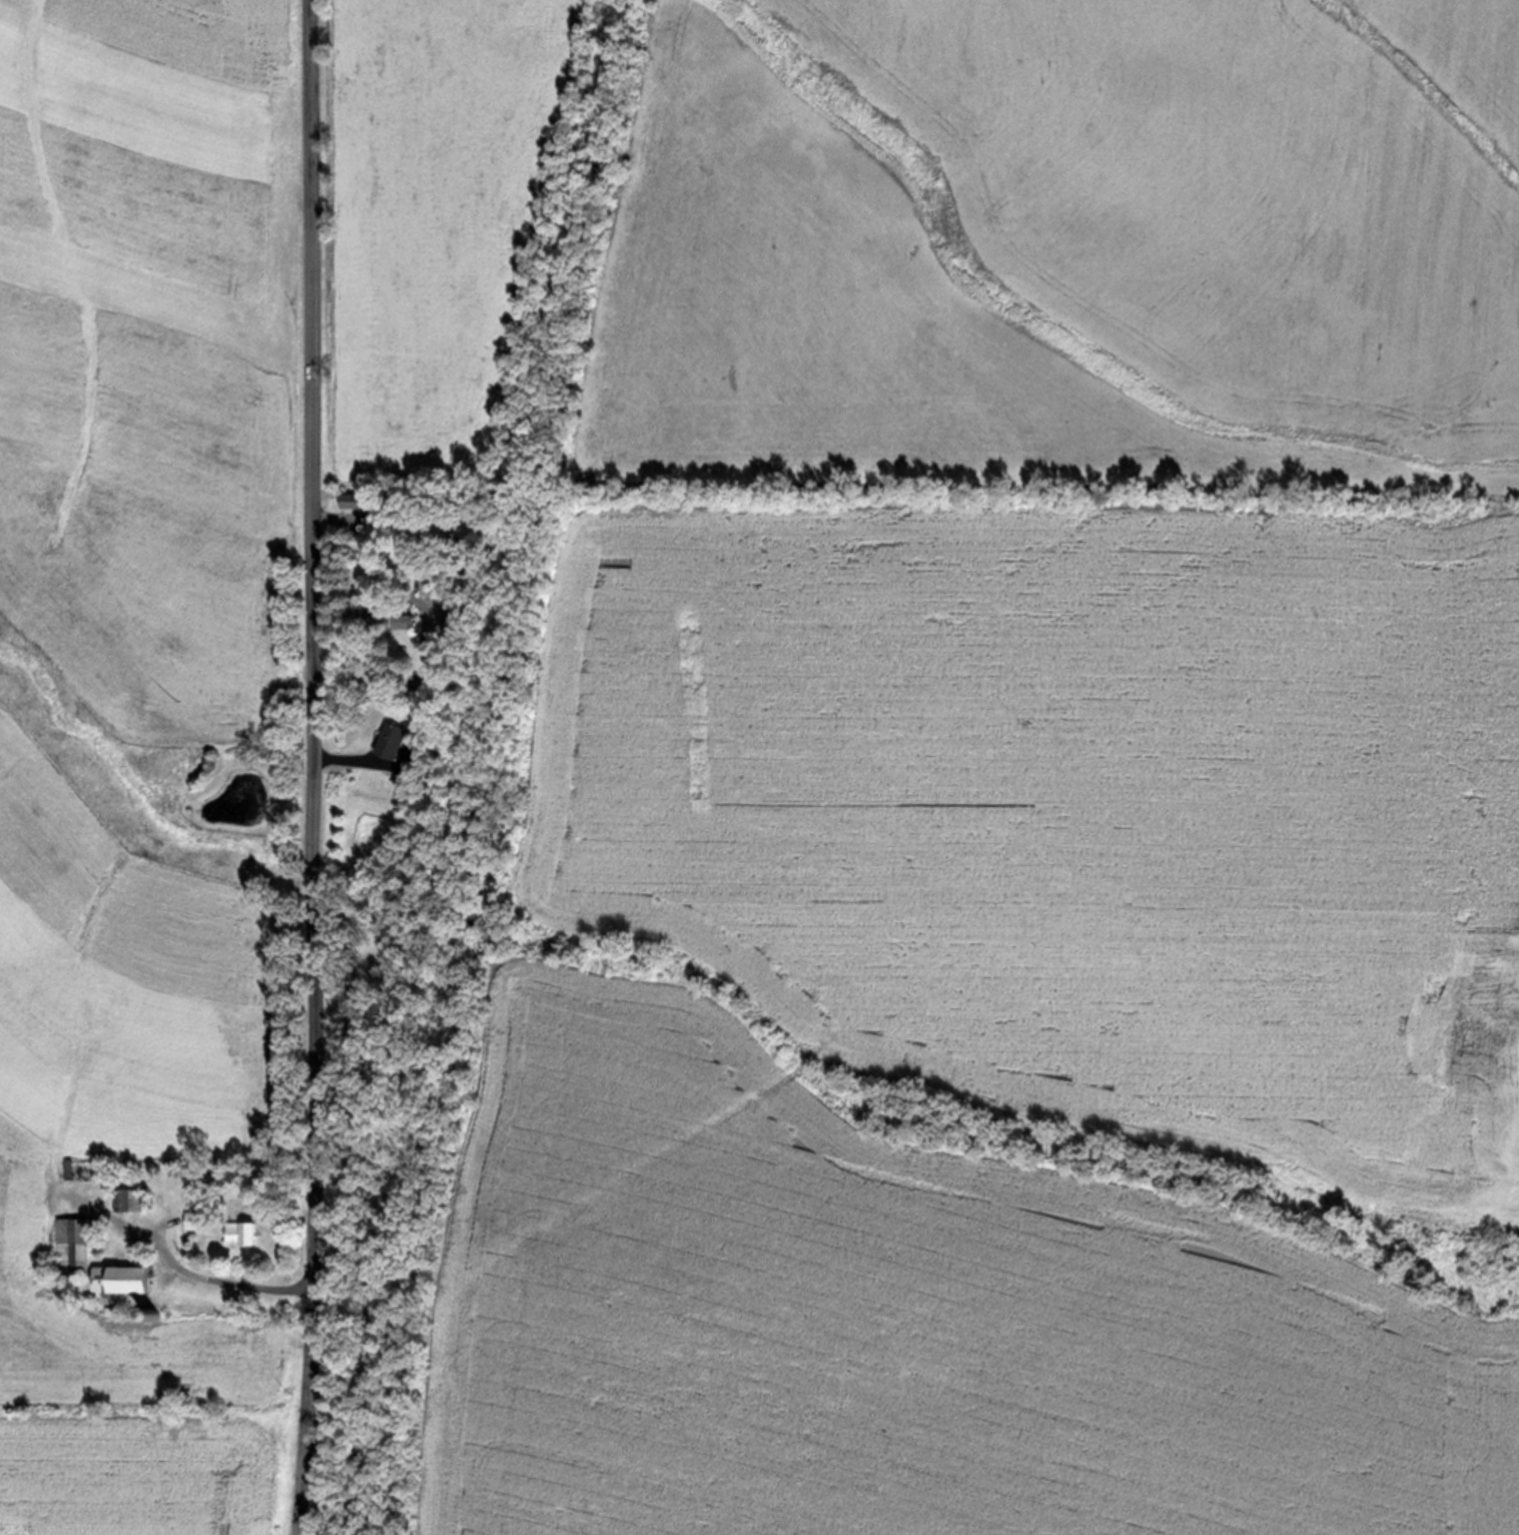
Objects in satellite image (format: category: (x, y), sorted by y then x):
building: (349, 498)
building: (387, 619)
building: (386, 738)
road: (455, 763)
road: (306, 767)
building: (126, 1198)
building: (194, 1216)
building: (239, 1231)
building: (72, 1243)
building: (117, 1277)
road: (218, 1279)

